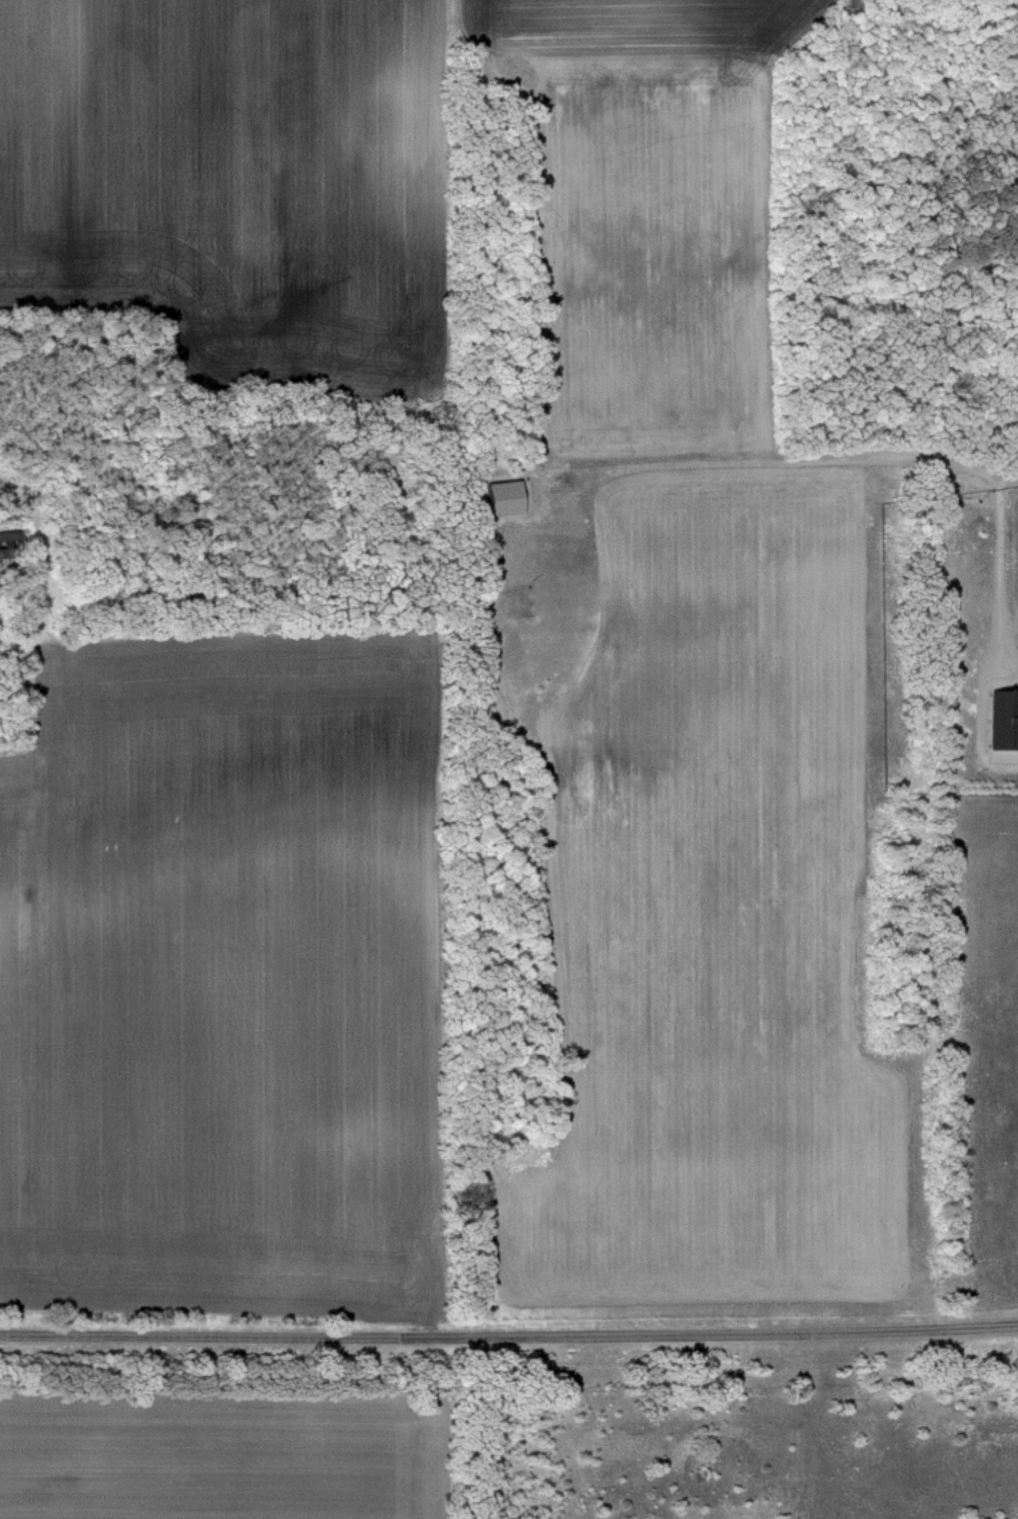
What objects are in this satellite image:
building: (507, 499)
building: (1007, 721)
road: (509, 1334)

